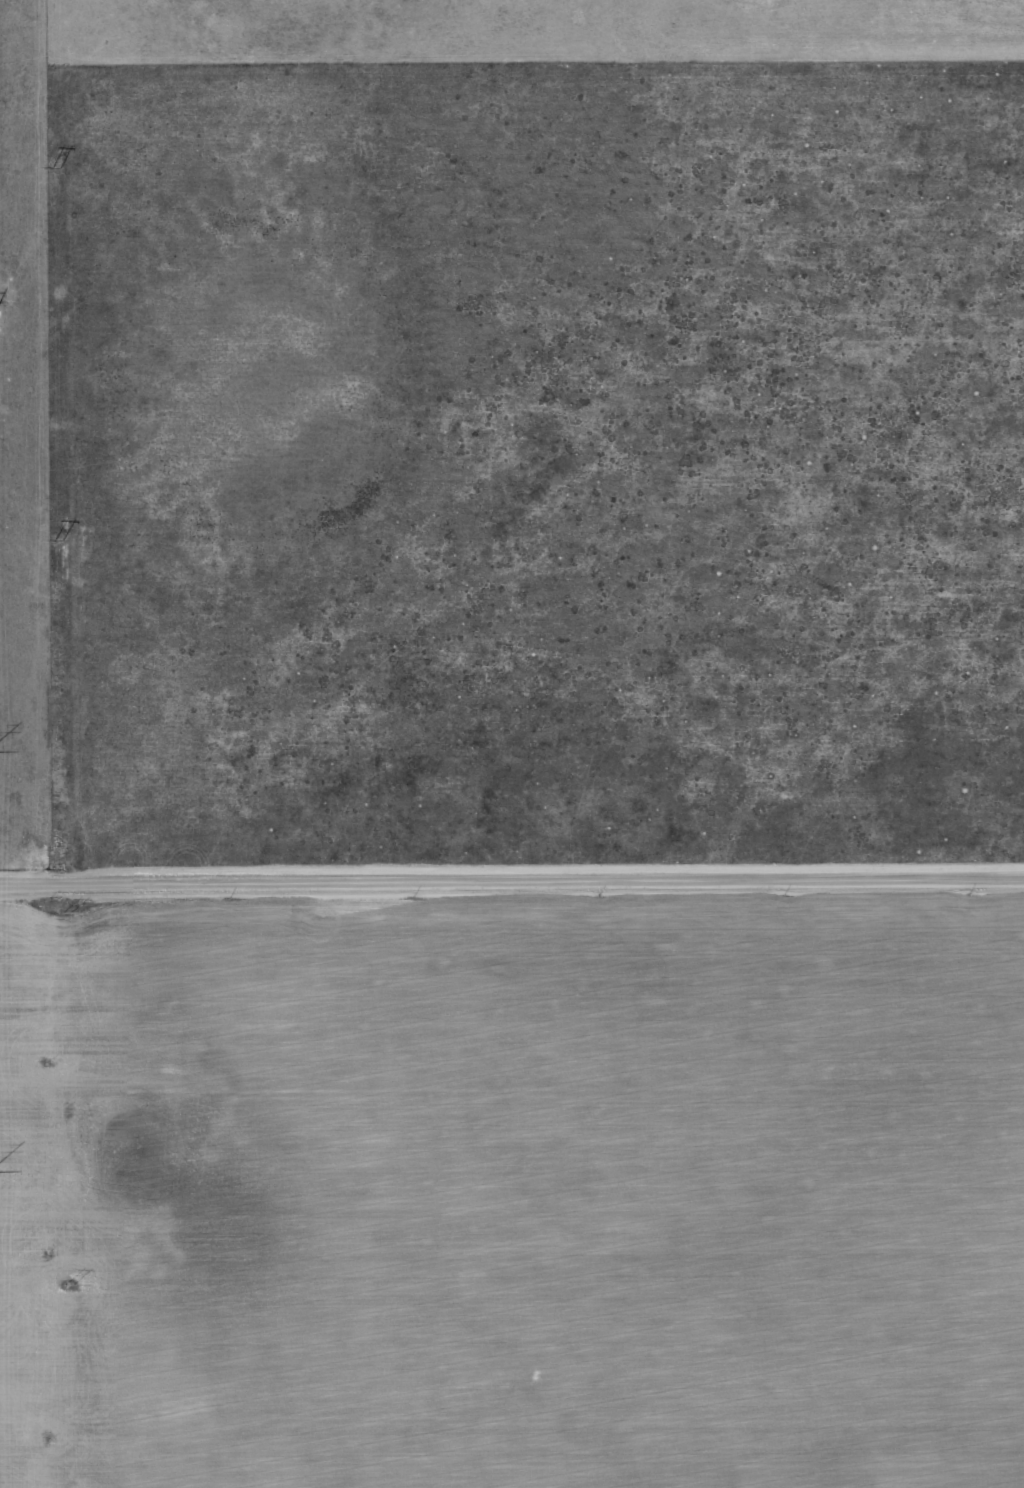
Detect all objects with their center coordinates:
road: (511, 877)

